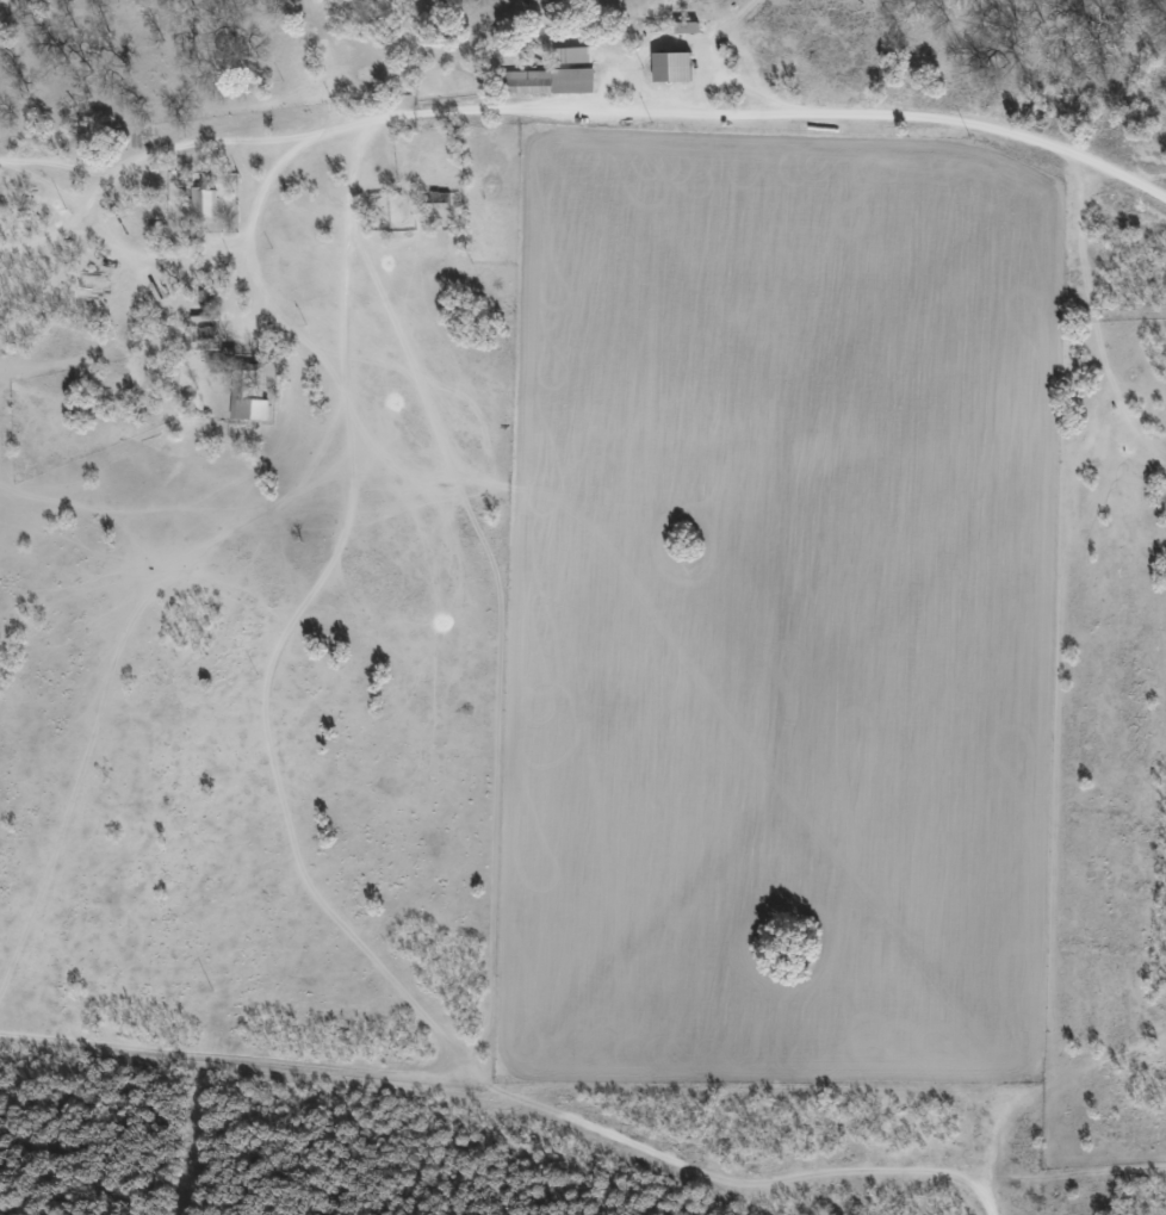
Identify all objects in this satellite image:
building: (671, 67)
building: (548, 81)
road: (576, 129)
building: (206, 205)
building: (205, 334)
building: (236, 399)
road: (1053, 1070)

